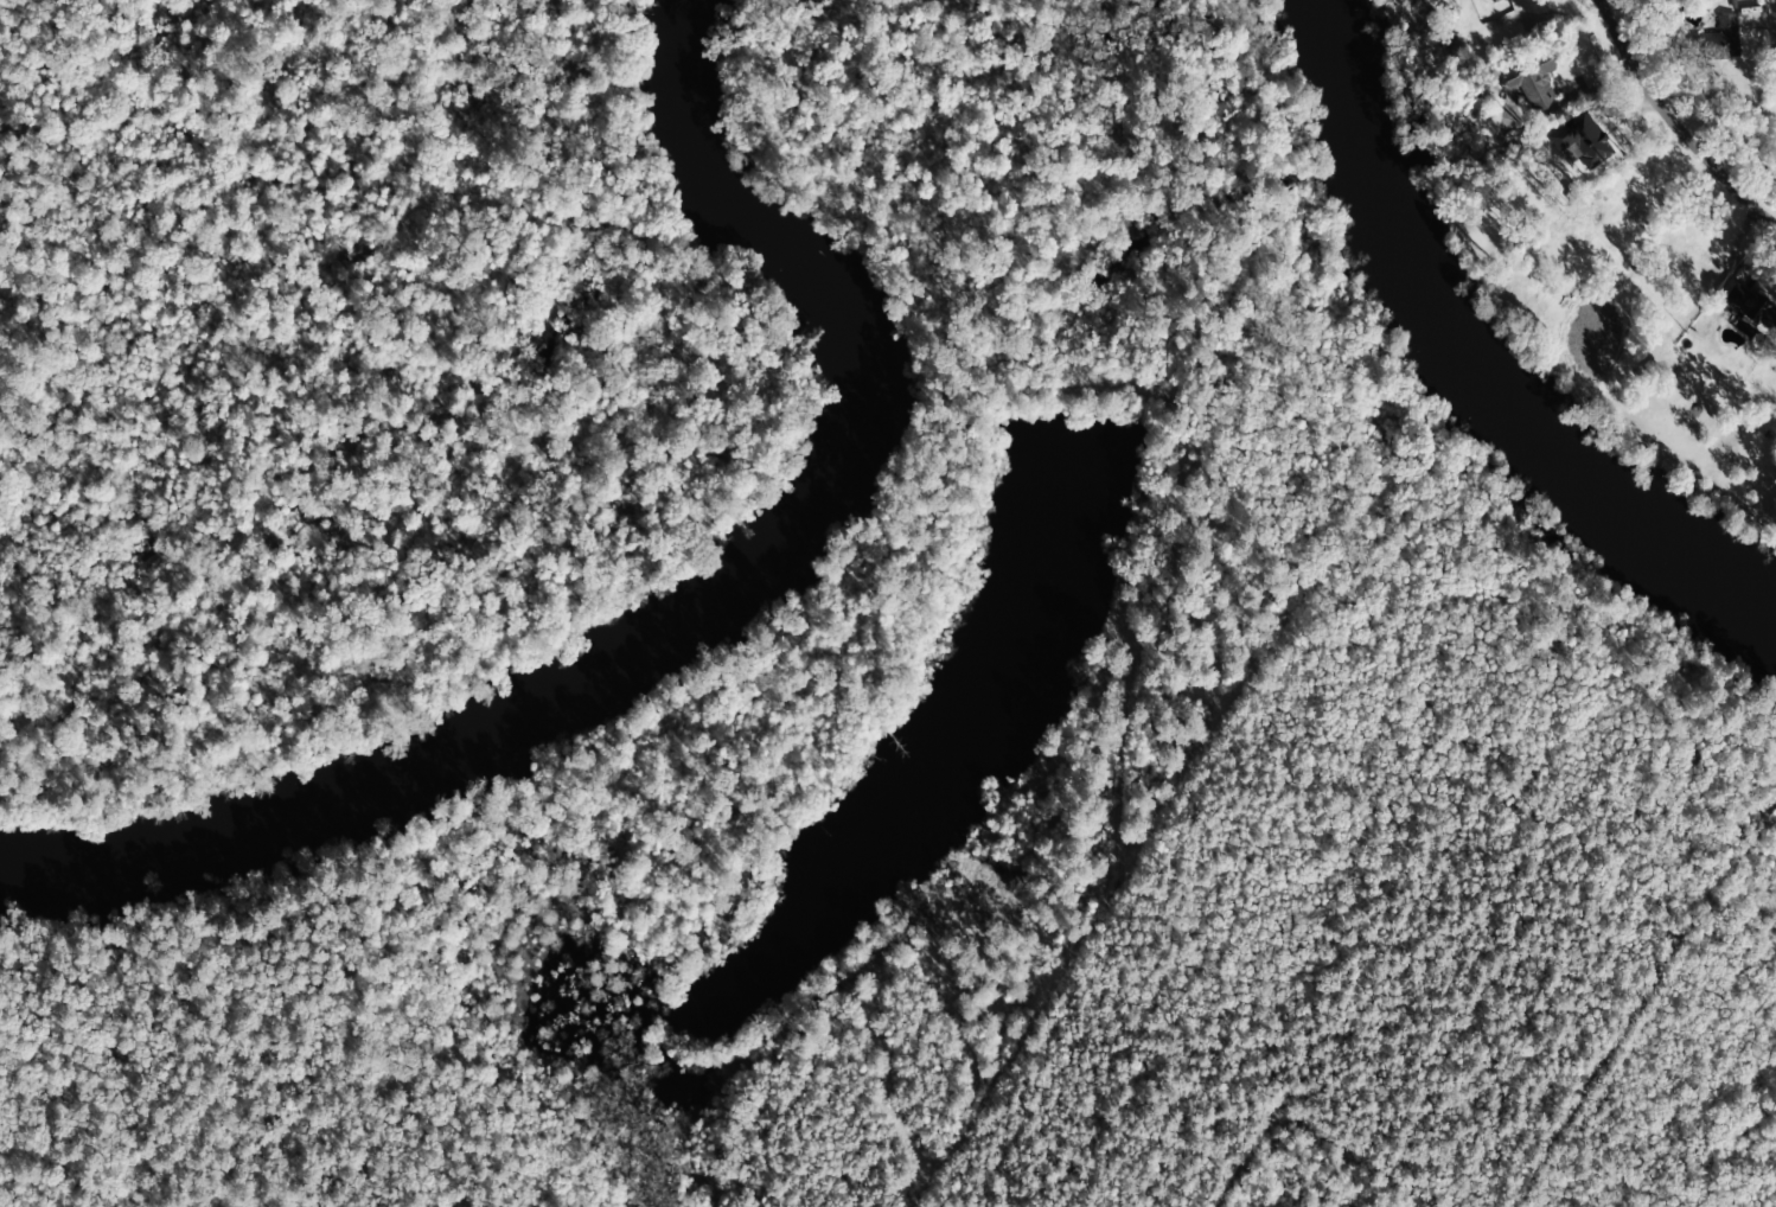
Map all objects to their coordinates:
building: (1493, 1)
road: (1772, 18)
building: (1720, 38)
building: (1529, 81)
road: (1667, 124)
building: (1580, 140)
building: (1752, 309)
river: (1464, 362)
river: (689, 606)

